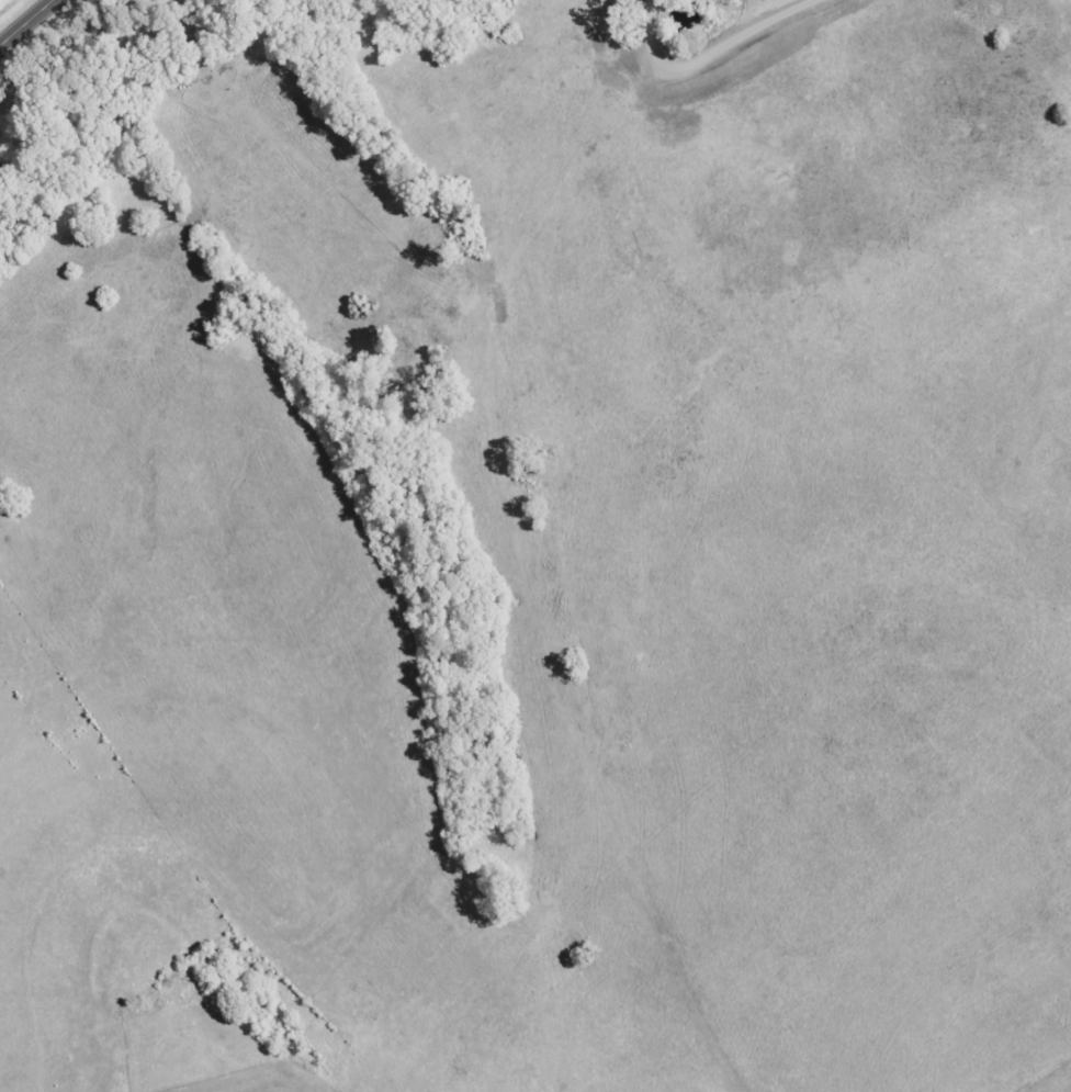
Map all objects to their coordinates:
road: (29, 24)

